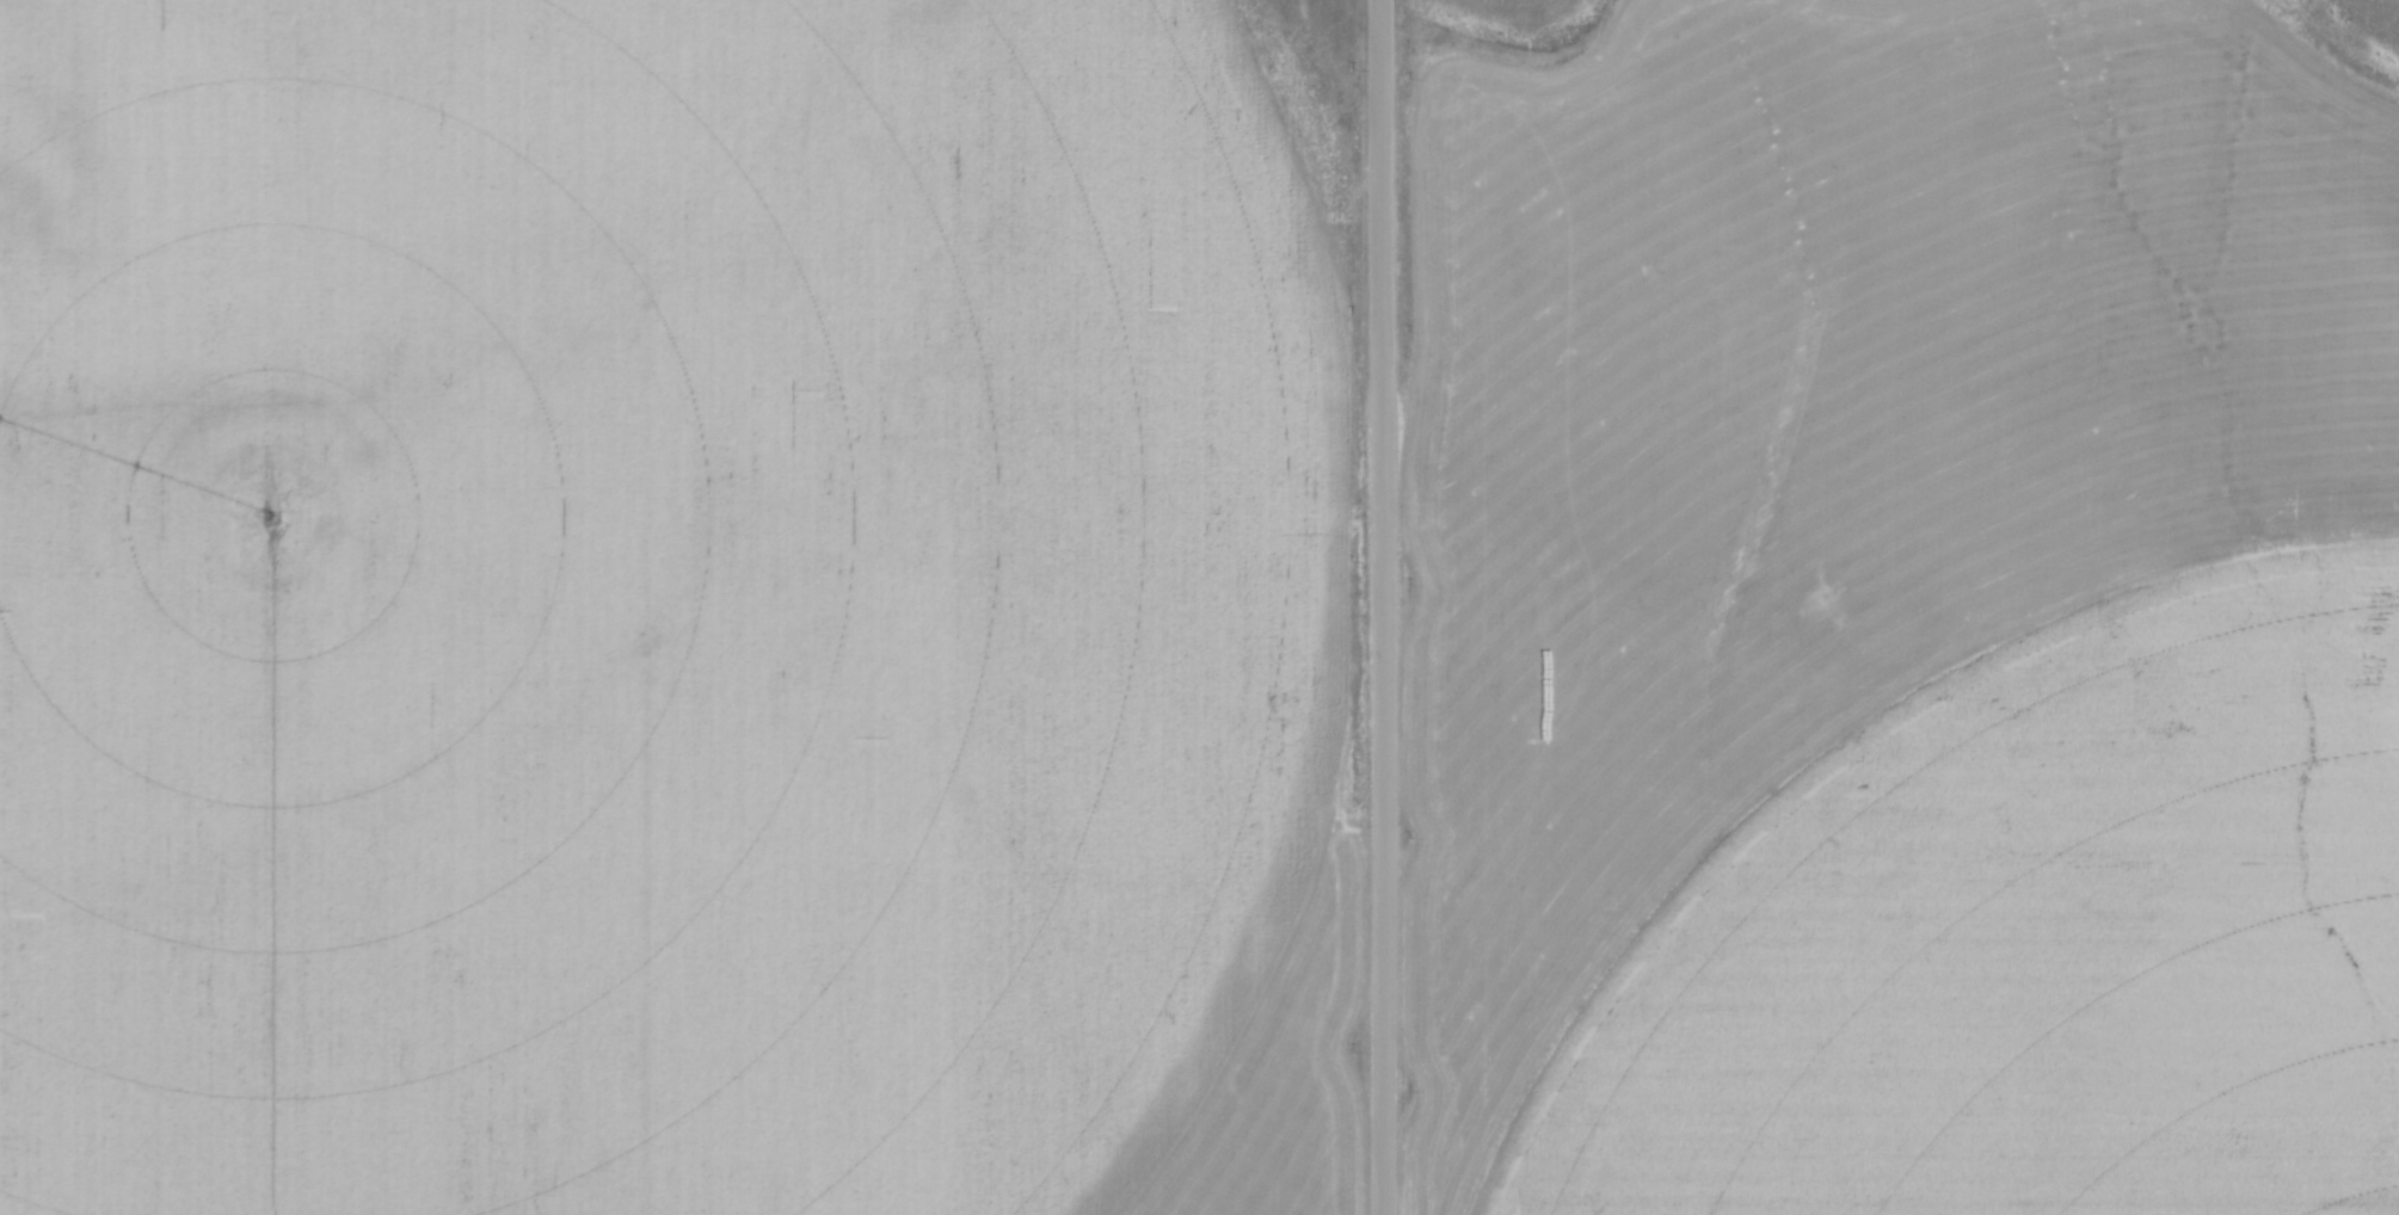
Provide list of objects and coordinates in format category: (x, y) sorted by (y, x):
road: (1384, 607)

